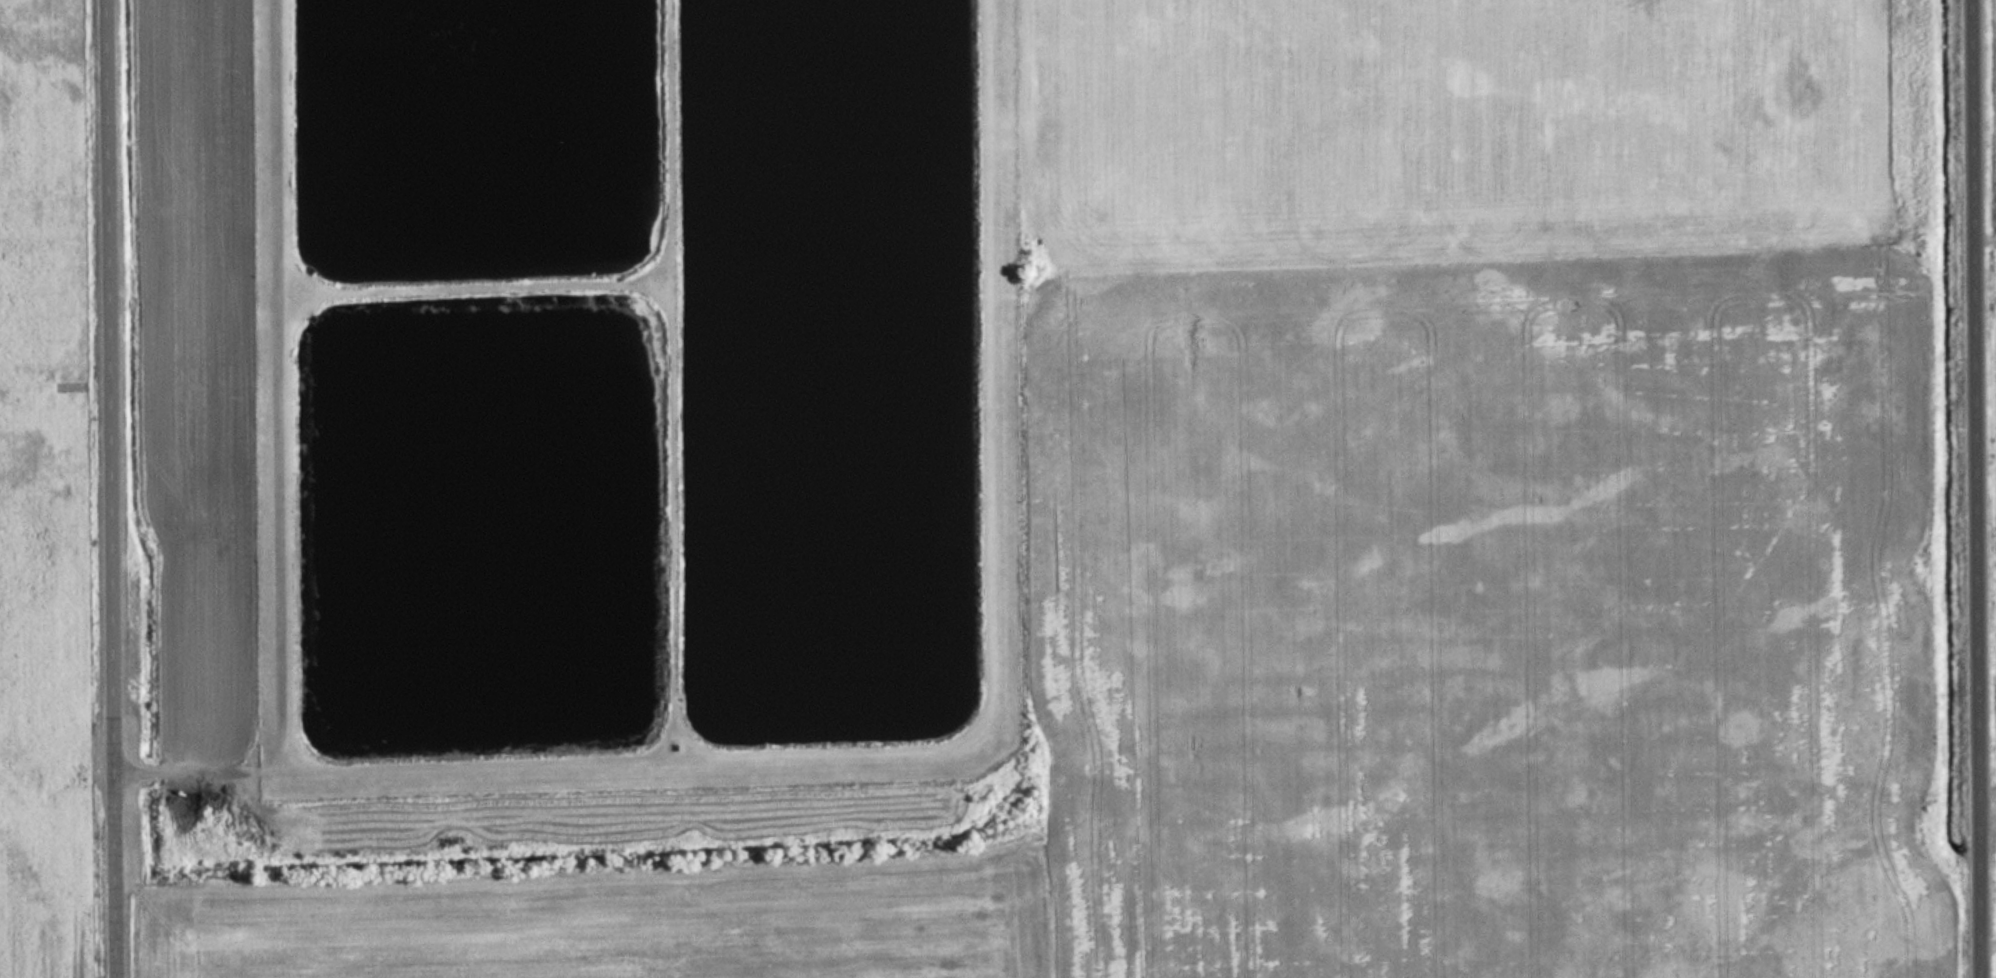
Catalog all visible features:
road: (116, 489)
road: (1977, 489)

